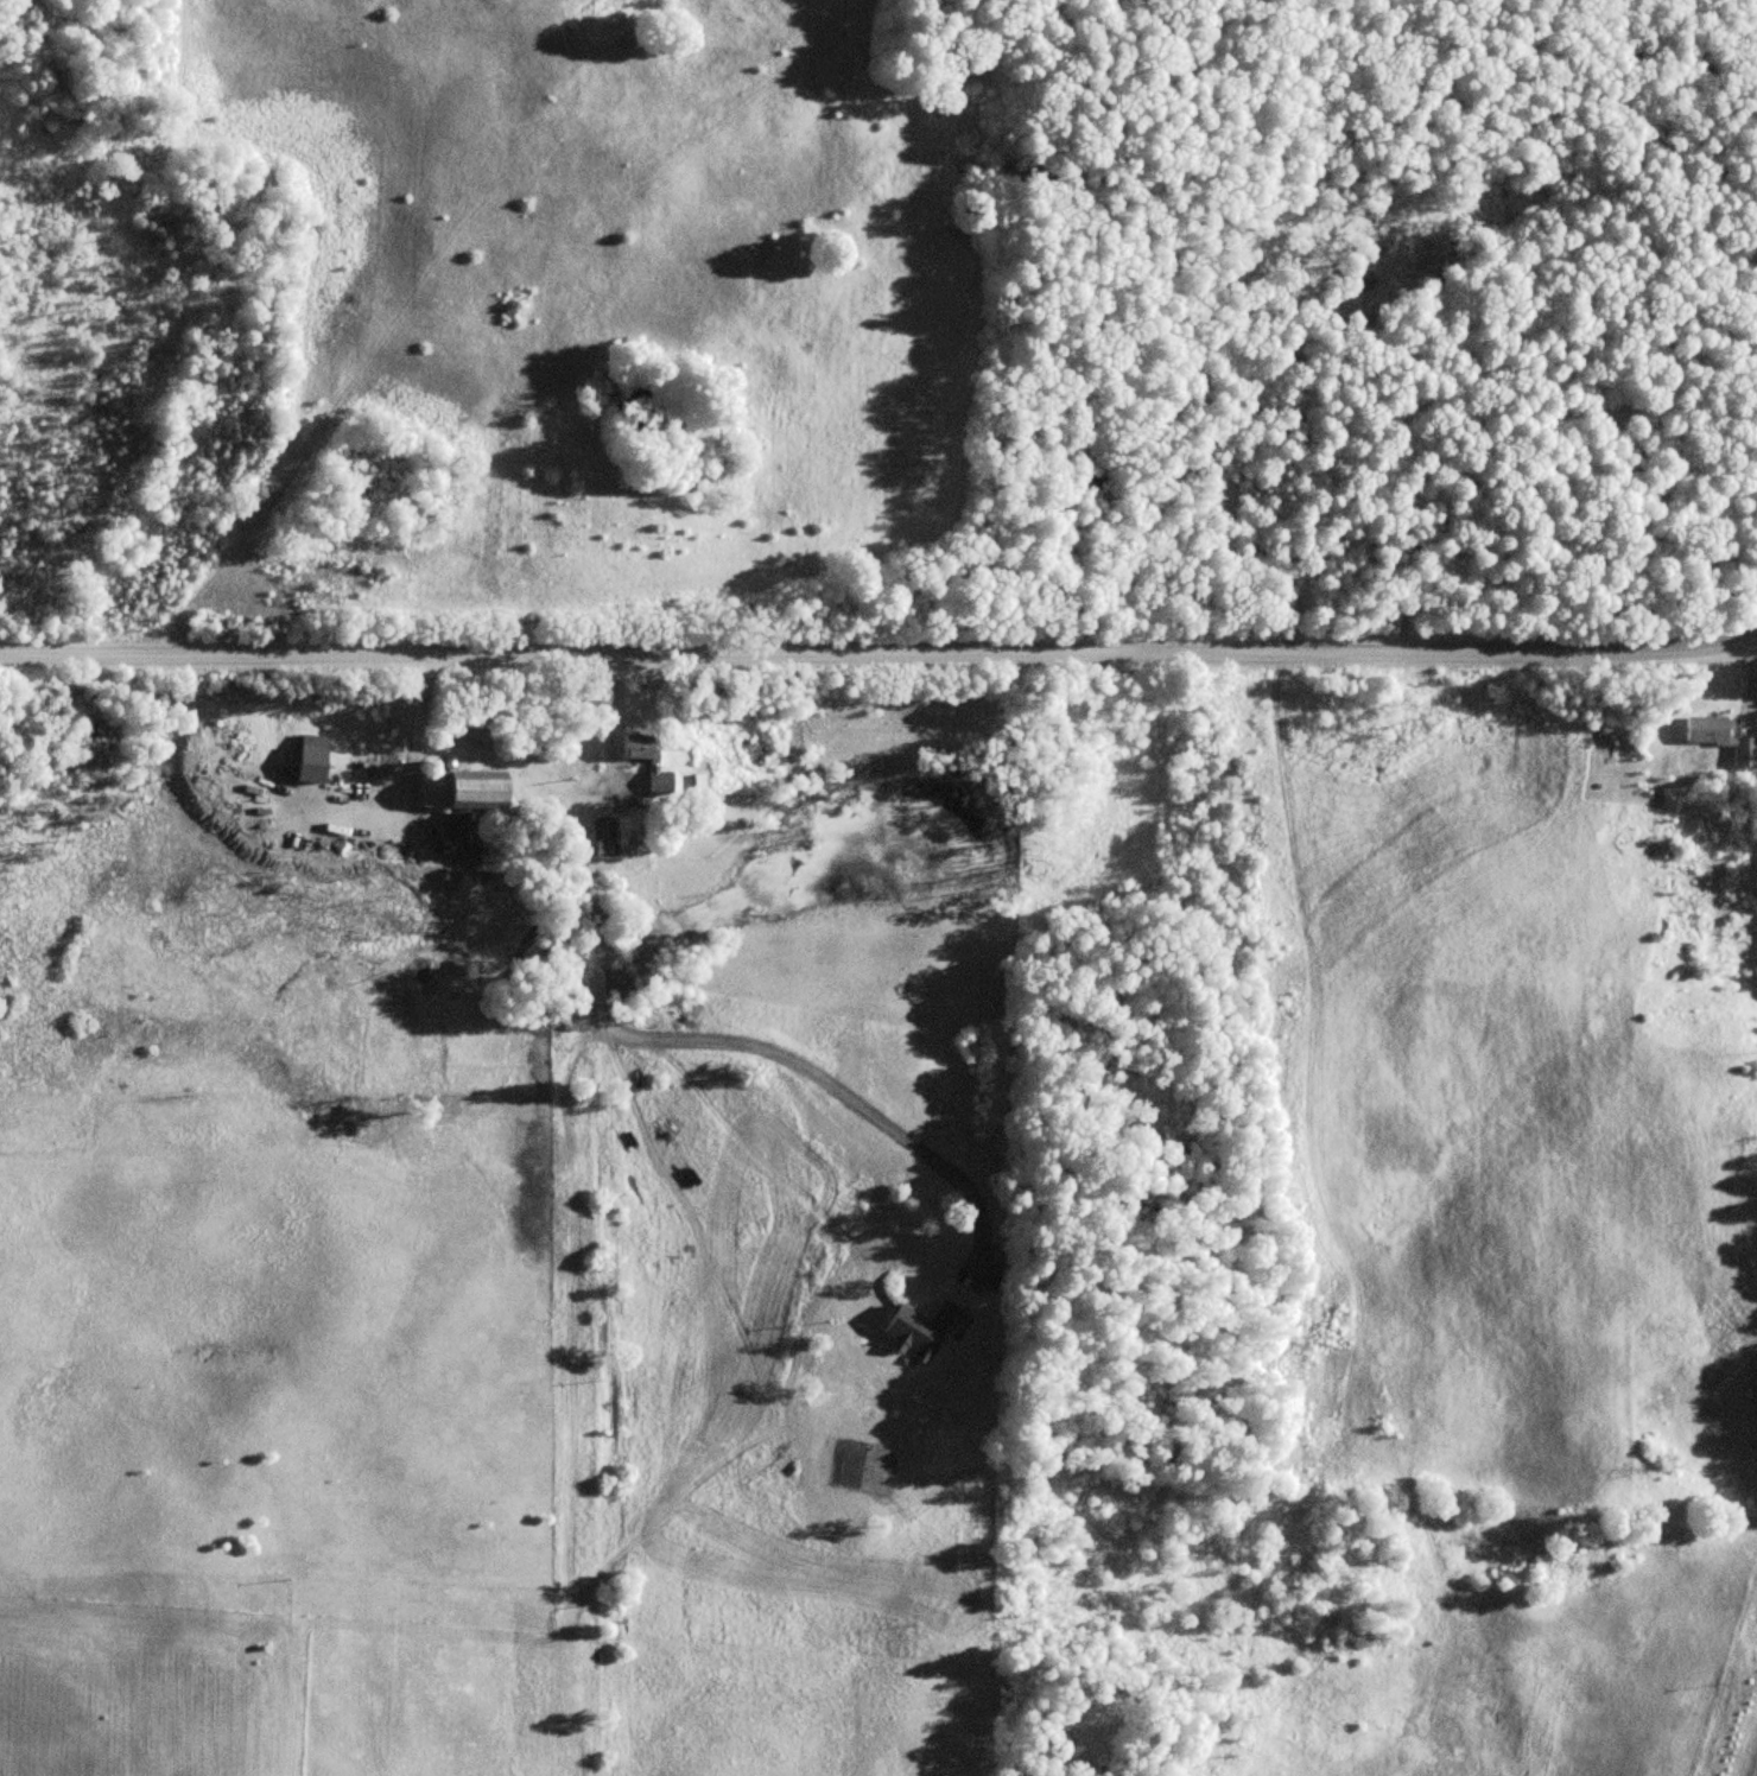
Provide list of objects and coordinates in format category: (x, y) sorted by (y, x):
road: (878, 653)
building: (1721, 738)
building: (654, 766)
building: (464, 800)

